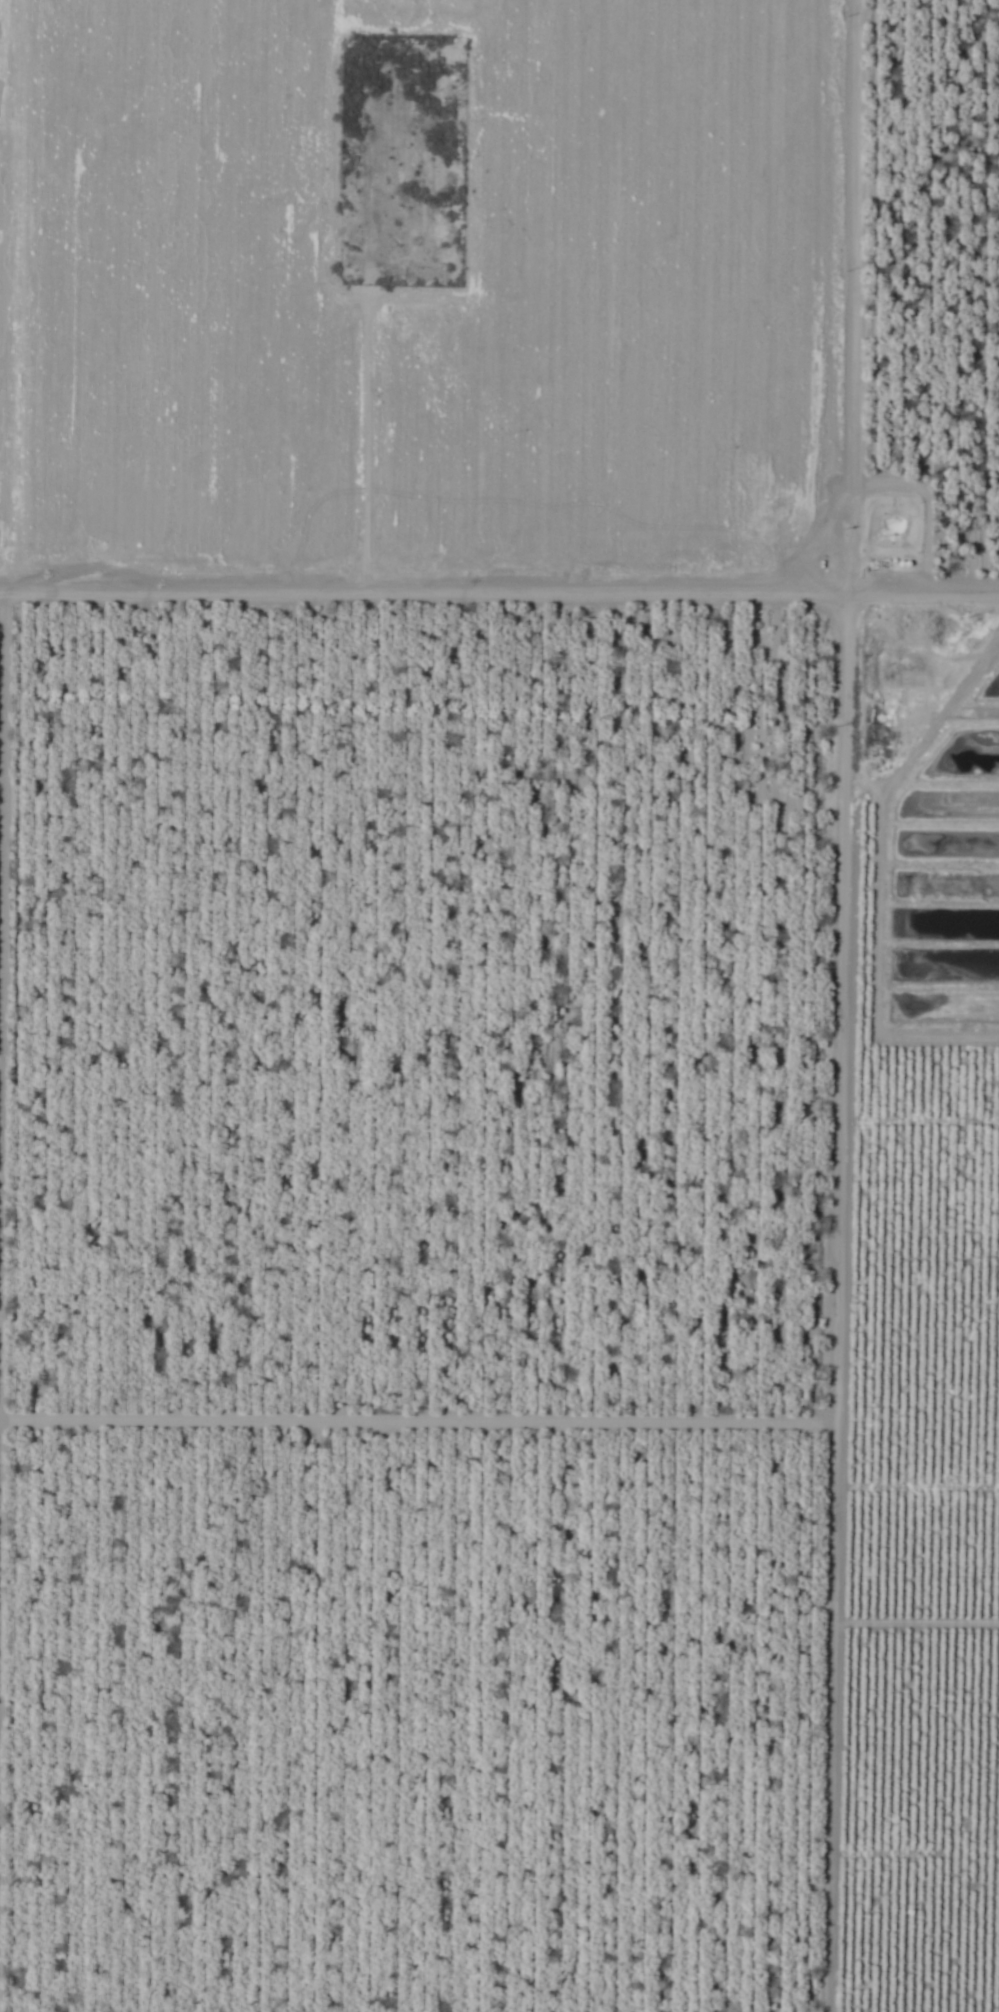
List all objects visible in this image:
road: (500, 606)
crop: (499, 1006)
road: (848, 1006)

